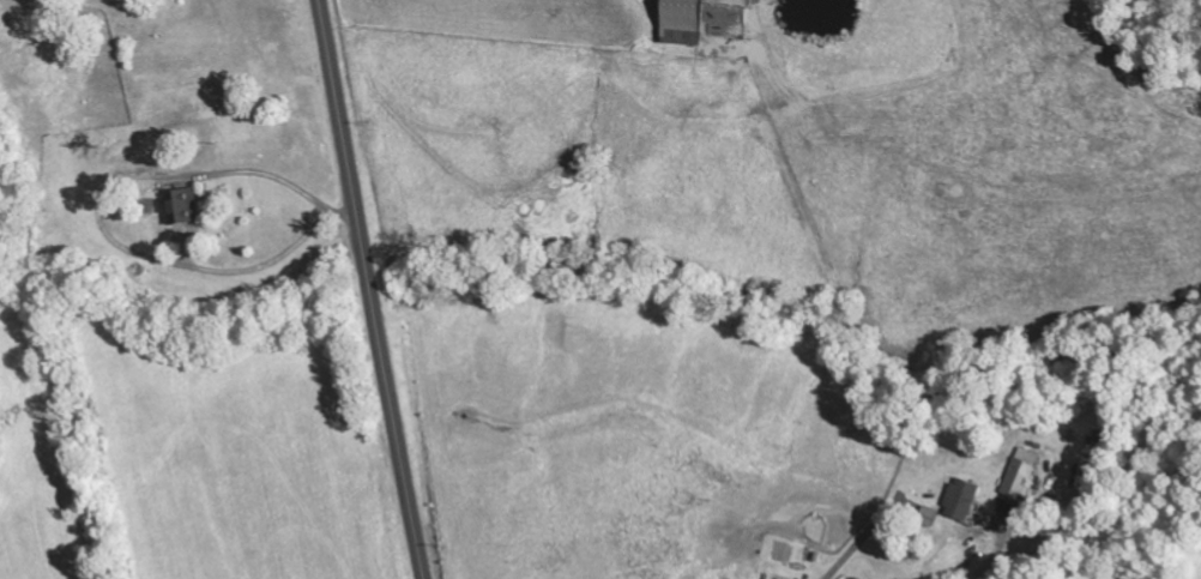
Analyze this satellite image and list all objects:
building: (682, 23)
building: (185, 206)
road: (370, 289)
building: (1022, 475)
building: (964, 500)
building: (929, 517)

